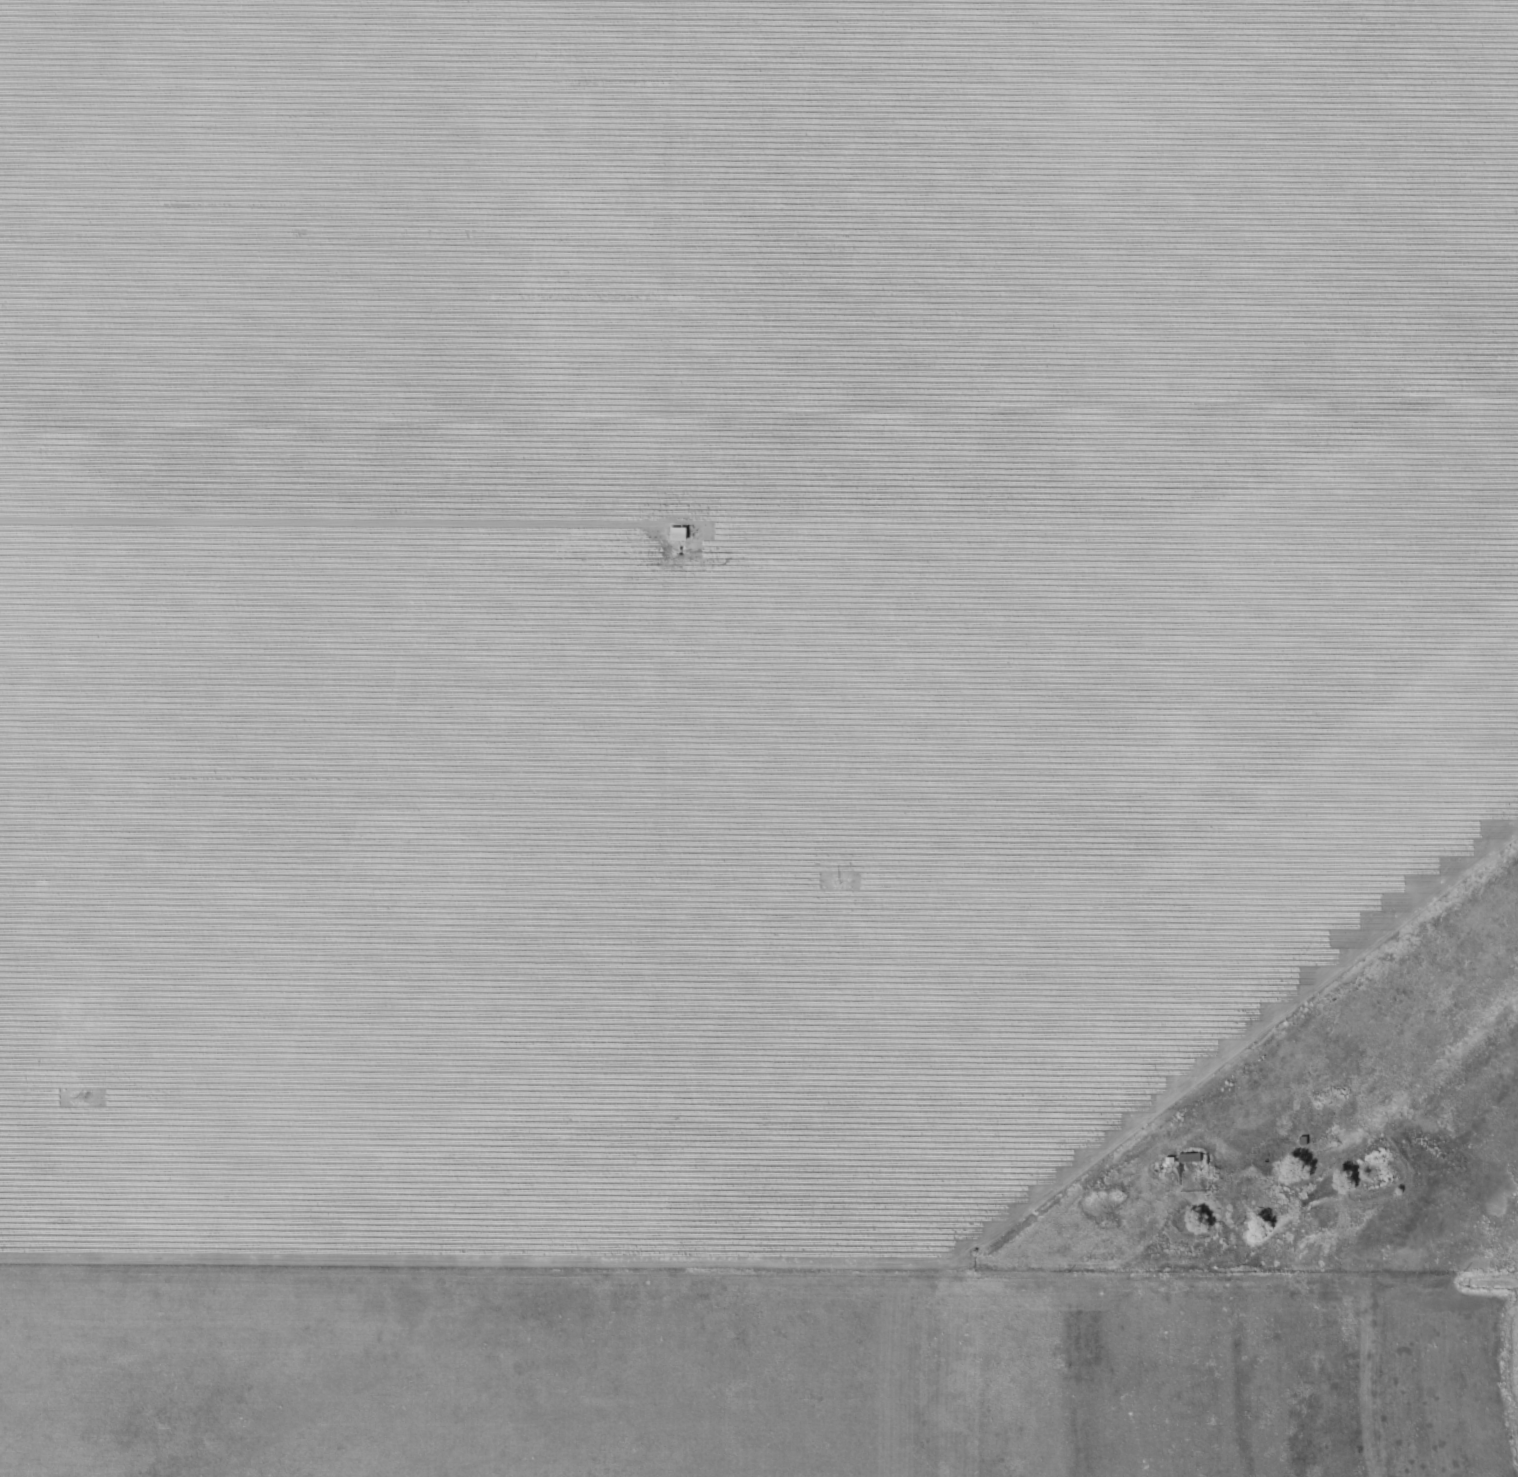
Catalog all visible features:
road: (1361, 981)

